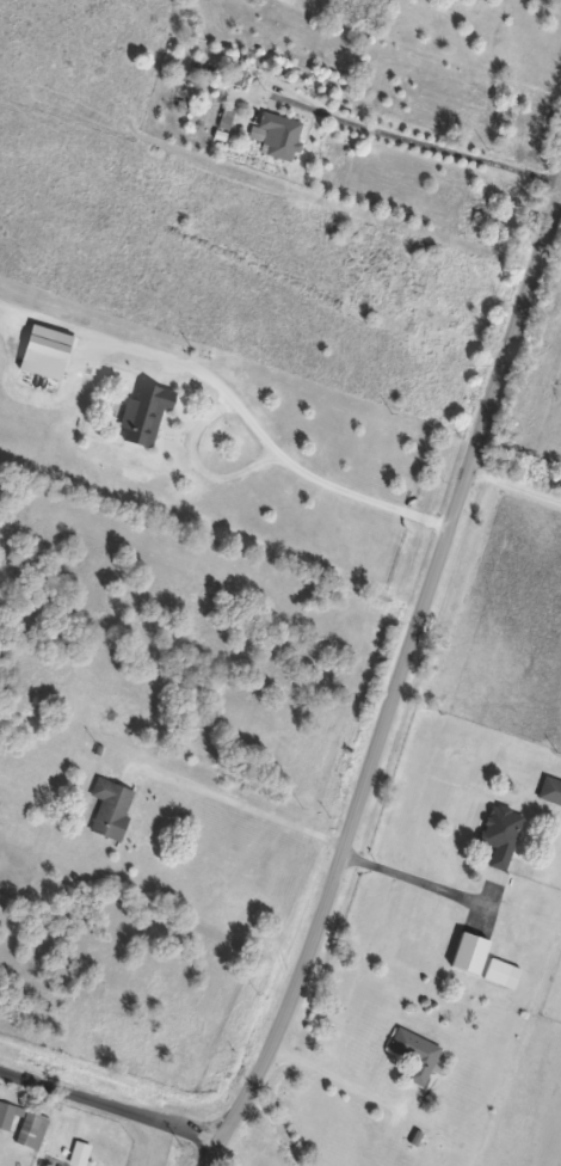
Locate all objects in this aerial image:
building: (282, 136)
road: (427, 141)
building: (146, 415)
road: (198, 467)
road: (301, 472)
road: (523, 484)
road: (400, 705)
building: (551, 791)
road: (243, 806)
building: (112, 810)
building: (503, 835)
road: (420, 880)
building: (503, 974)
building: (418, 1055)
road: (345, 1082)
road: (111, 1106)
building: (24, 1125)
building: (81, 1154)

